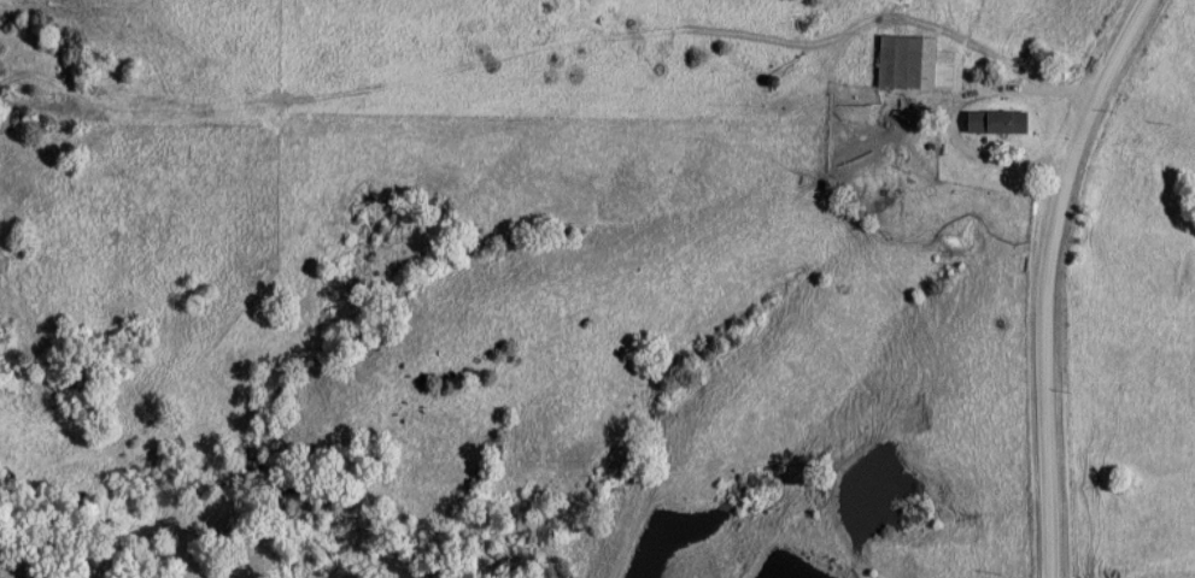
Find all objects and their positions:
building: (926, 65)
building: (1001, 123)
road: (1050, 279)

